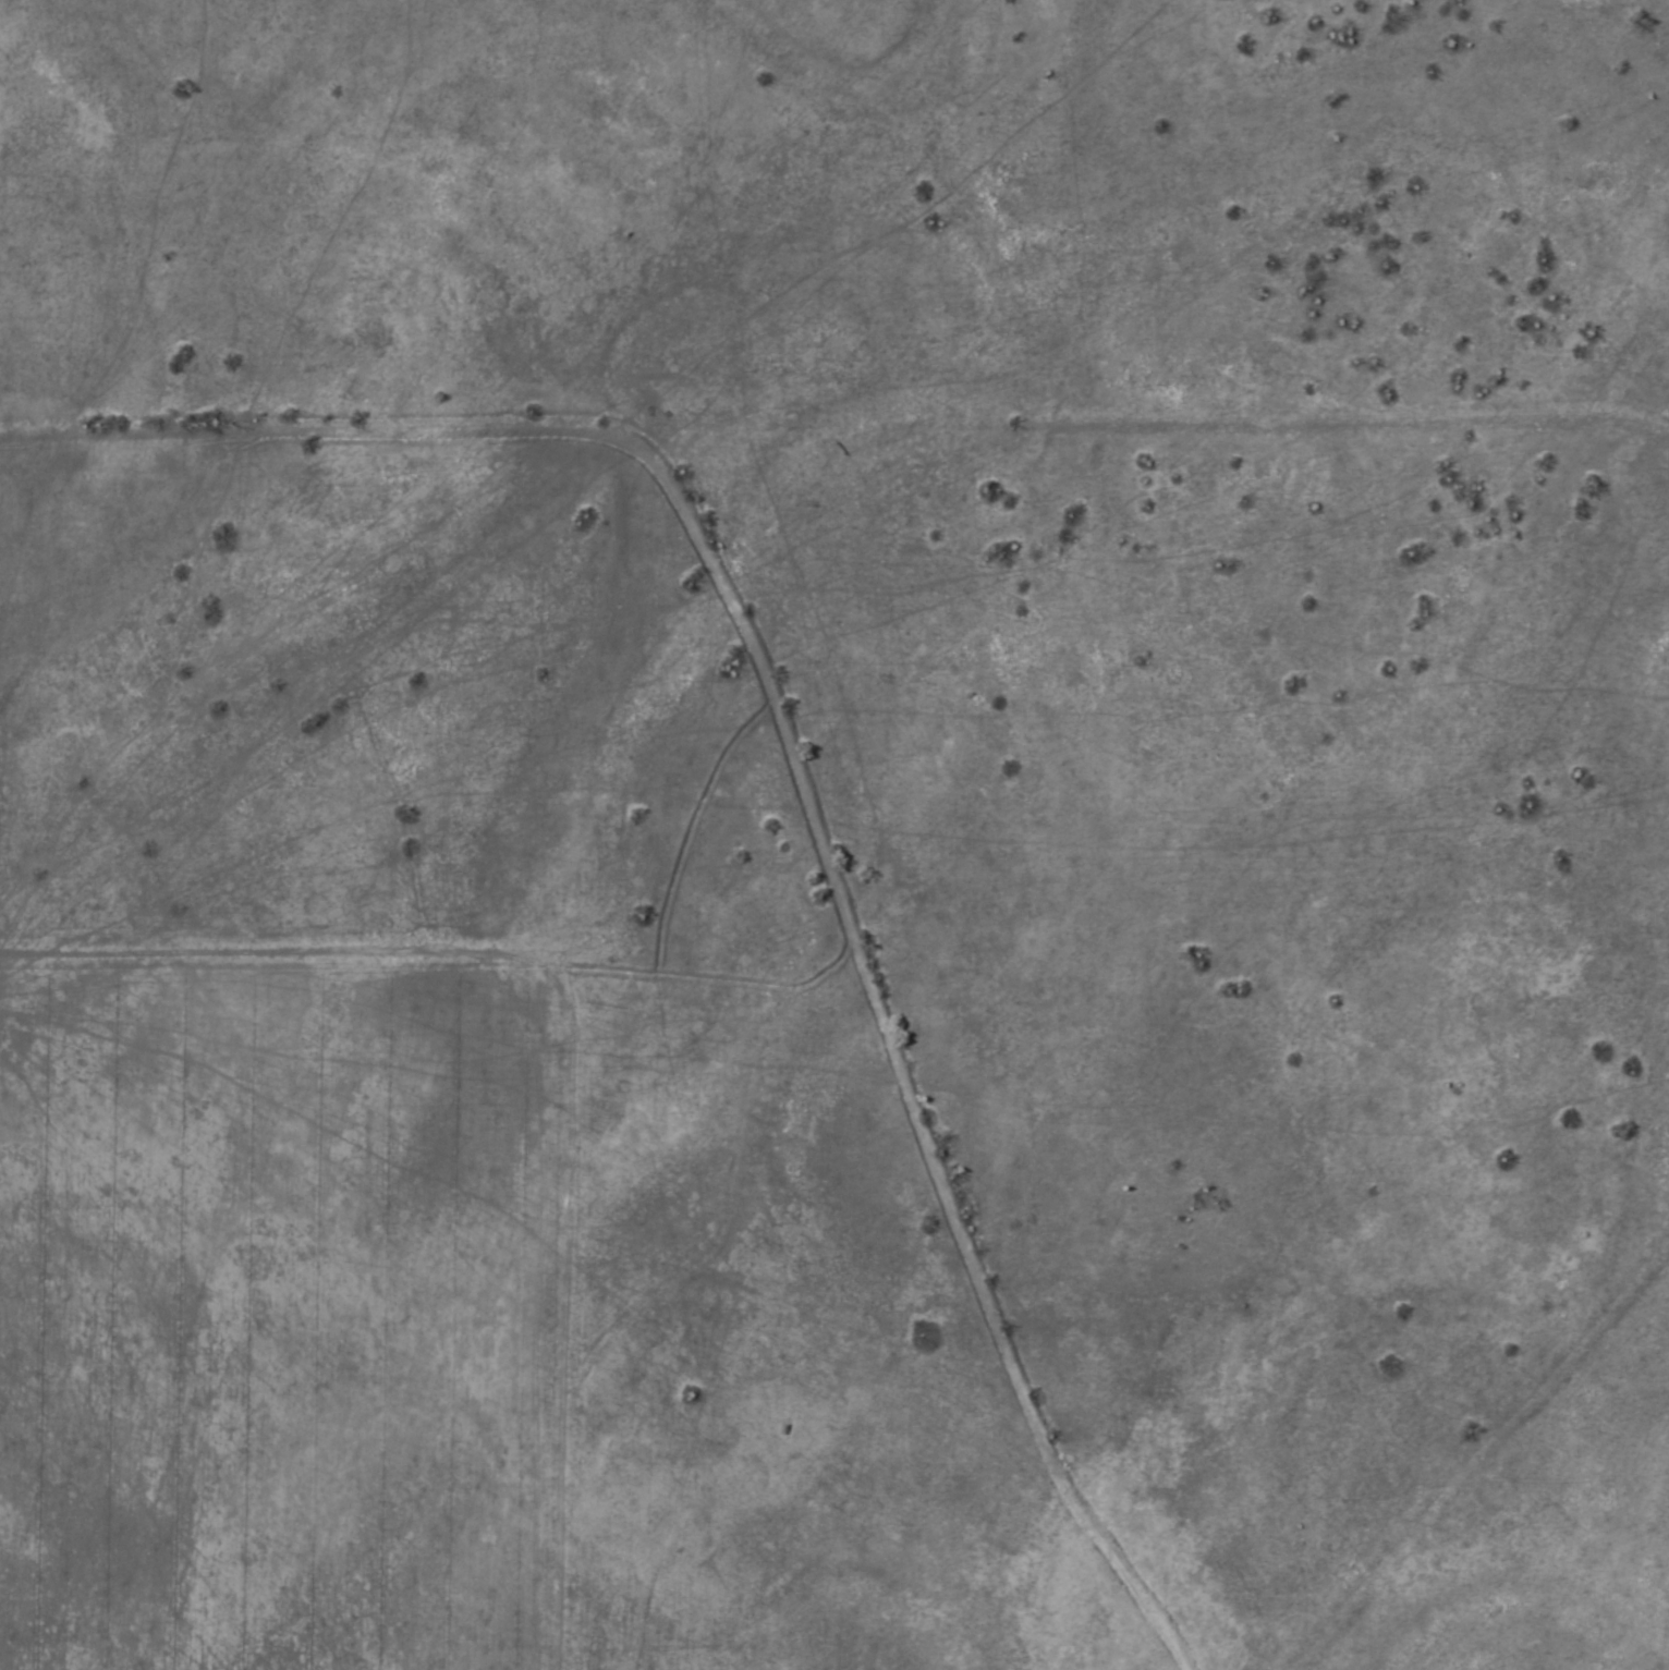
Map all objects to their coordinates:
crop: (284, 1312)

